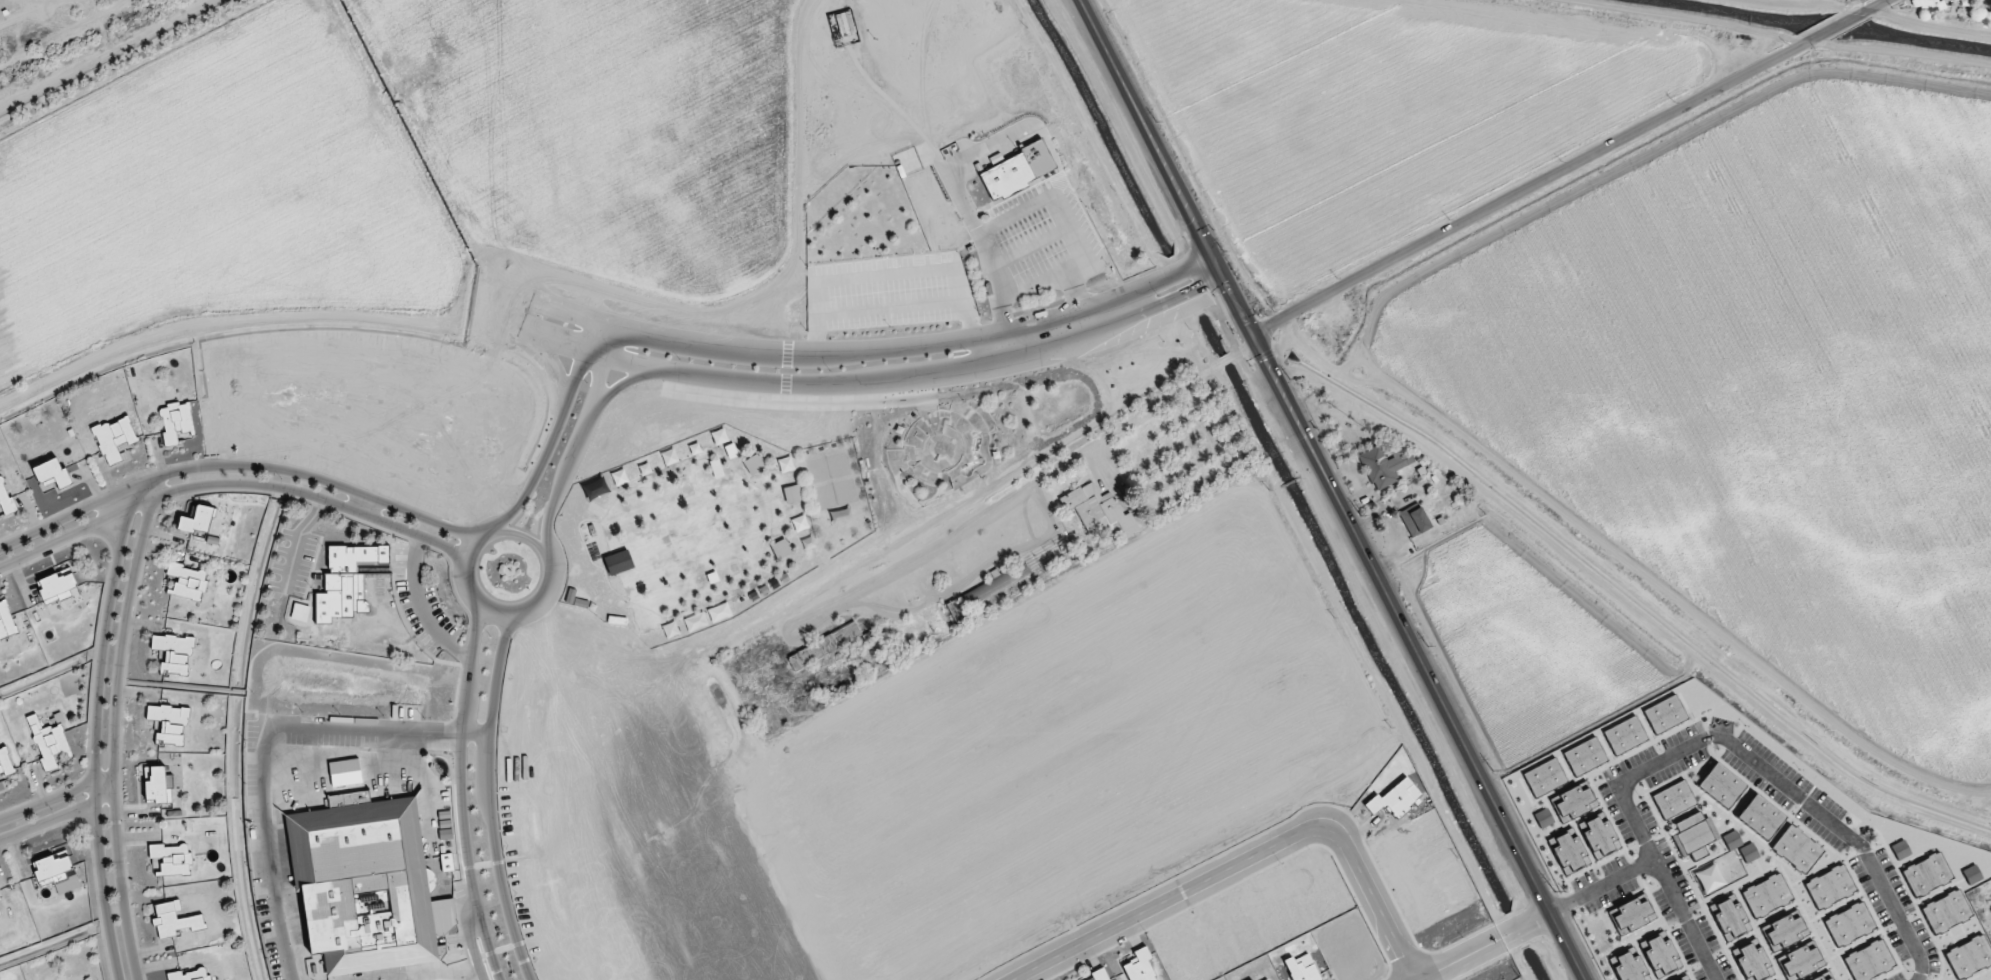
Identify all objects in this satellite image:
building: (1955, 0)
building: (1965, 3)
building: (1930, 5)
road: (1877, 8)
road: (1831, 32)
building: (1016, 171)
road: (1526, 191)
road: (1025, 206)
traffic signals: (1211, 253)
traffic signals: (1222, 274)
road: (1036, 282)
traffic signals: (1254, 336)
road: (1244, 348)
road: (815, 356)
road: (1222, 363)
road: (842, 383)
road: (1149, 411)
building: (176, 422)
building: (114, 439)
road: (239, 463)
building: (1384, 466)
building: (52, 473)
road: (232, 482)
road: (1333, 490)
building: (5, 499)
building: (1099, 511)
building: (1415, 520)
building: (197, 521)
building: (800, 523)
road: (485, 528)
building: (618, 563)
building: (346, 581)
building: (187, 582)
building: (57, 584)
building: (996, 585)
building: (575, 599)
building: (6, 622)
building: (824, 646)
building: (173, 653)
building: (1665, 714)
road: (96, 724)
building: (168, 724)
road: (115, 728)
building: (1625, 735)
road: (1728, 740)
building: (48, 743)
road: (265, 750)
building: (1585, 756)
building: (5, 763)
building: (1545, 777)
building: (1721, 785)
building: (156, 786)
road: (461, 792)
road: (489, 796)
road: (57, 797)
building: (1396, 798)
building: (1674, 800)
building: (1573, 803)
road: (57, 816)
building: (1761, 816)
building: (1544, 818)
building: (1695, 835)
building: (1600, 838)
building: (1732, 840)
building: (1797, 848)
building: (1901, 850)
building: (1570, 853)
building: (1749, 853)
building: (171, 859)
road: (1243, 861)
building: (53, 867)
building: (1927, 874)
building: (1972, 875)
building: (1710, 878)
building: (366, 883)
building: (1830, 886)
building: (1767, 895)
building: (1947, 911)
building: (1631, 916)
building: (0, 917)
building: (1730, 918)
road: (1685, 920)
building: (174, 921)
building: (1850, 924)
building: (1785, 932)
road: (1480, 945)
building: (1660, 956)
building: (1970, 956)
building: (1870, 961)
building: (1753, 962)
building: (1800, 962)
building: (1140, 966)
building: (1629, 967)
building: (1302, 968)
building: (189, 975)
building: (1099, 975)
building: (1818, 978)
building: (1267, 979)
building: (1680, 979)
building: (1830, 979)

